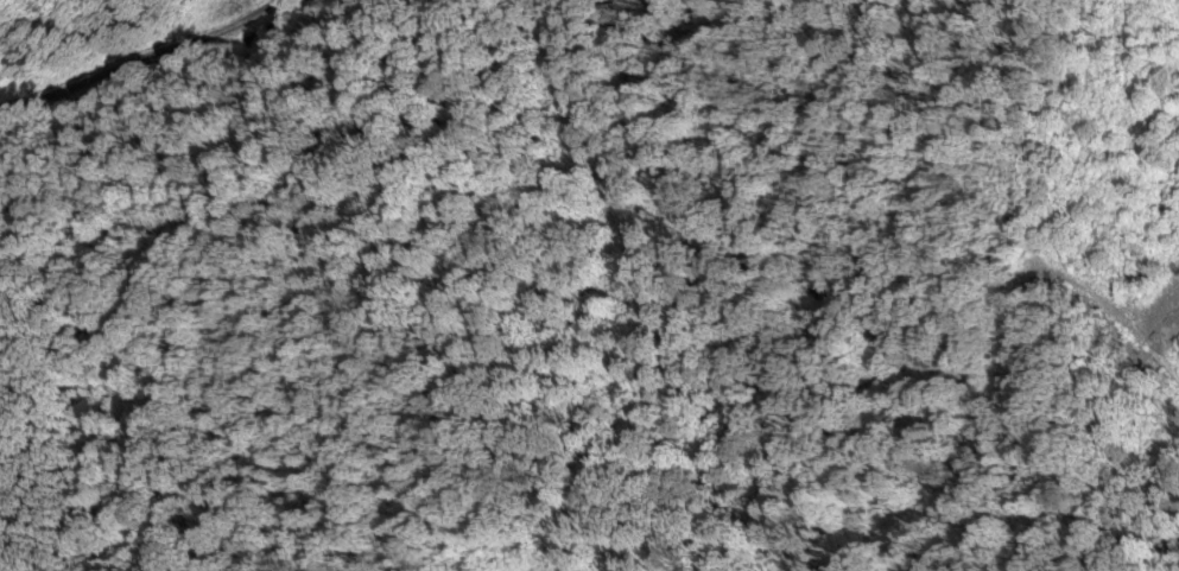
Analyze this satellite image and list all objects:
road: (76, 25)

